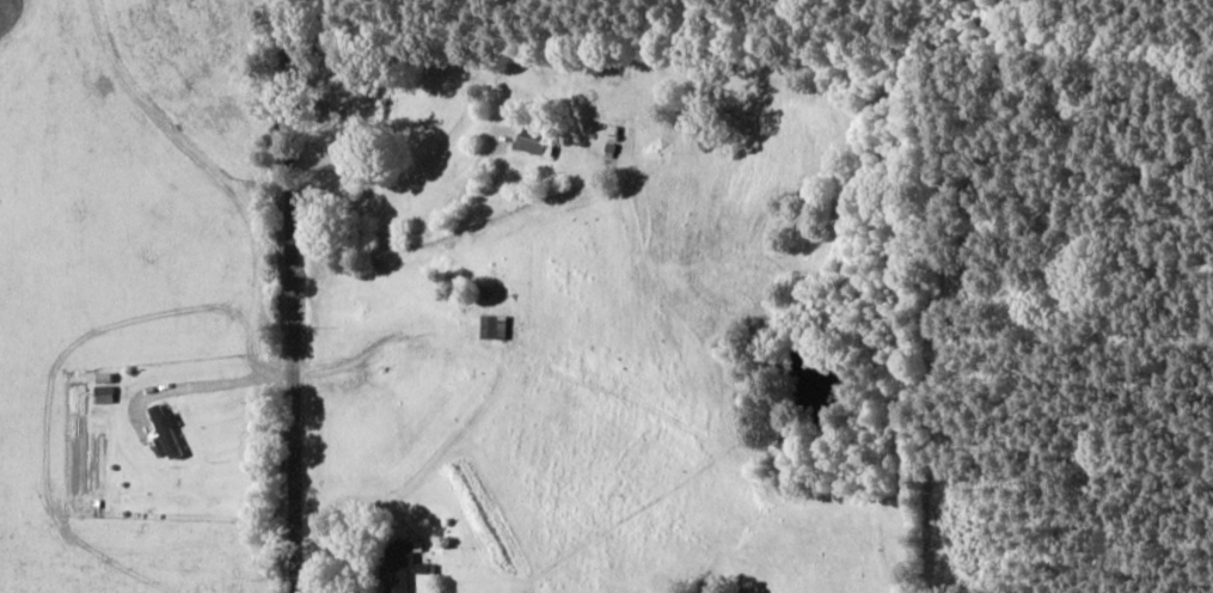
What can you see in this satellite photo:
road: (287, 295)
building: (494, 325)
building: (104, 390)
building: (164, 432)
building: (398, 566)

